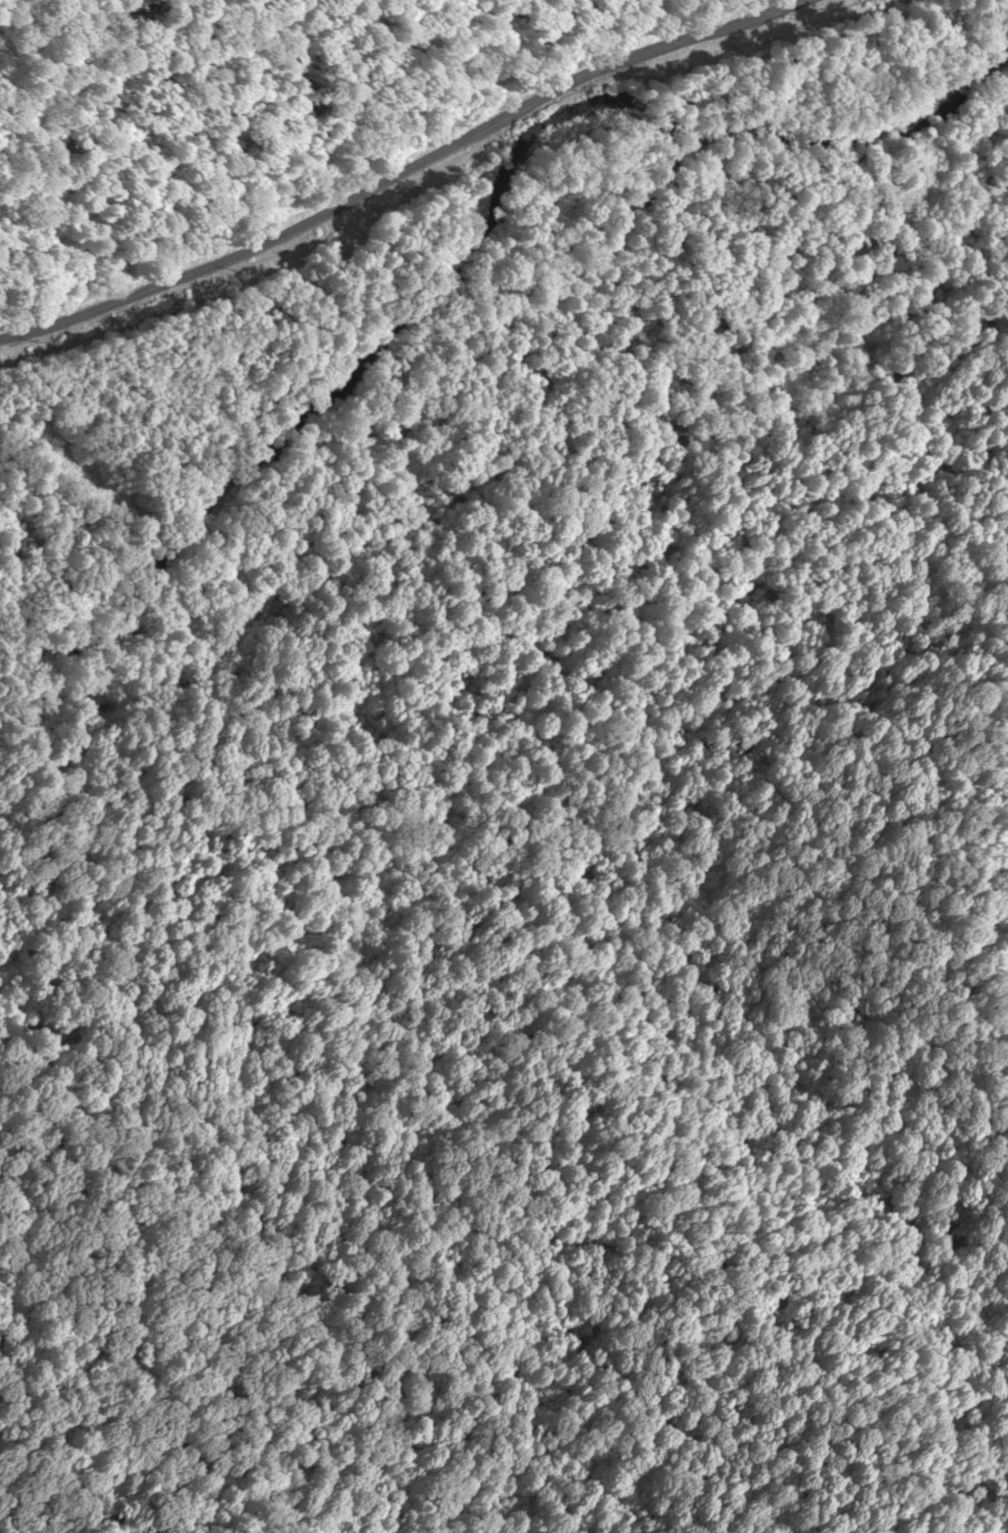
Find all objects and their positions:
road: (396, 172)

